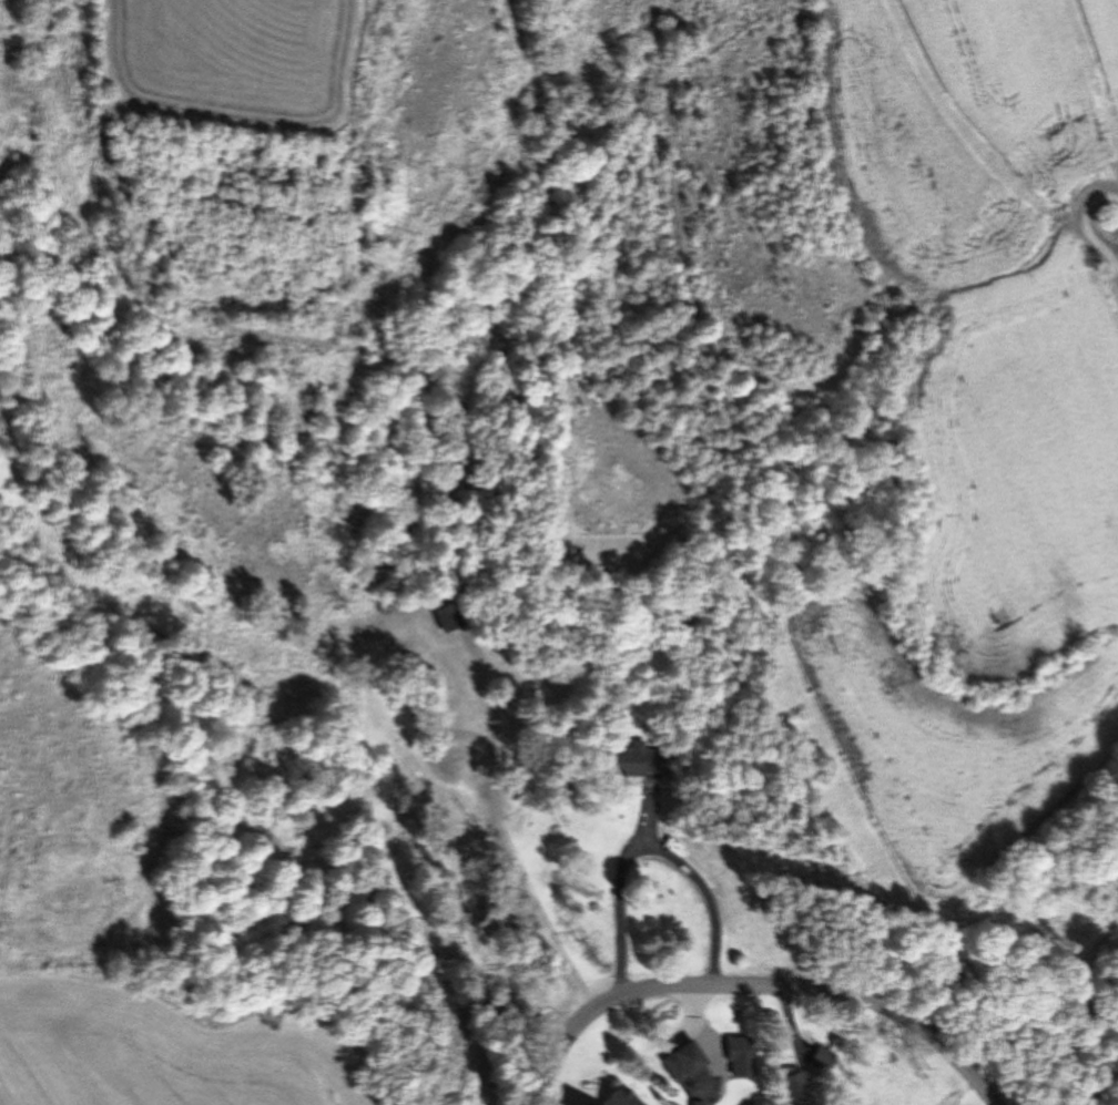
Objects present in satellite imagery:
road: (1090, 221)
building: (445, 615)
road: (759, 986)
building: (738, 1047)
building: (819, 1058)
building: (692, 1071)
building: (793, 1088)
building: (597, 1096)

